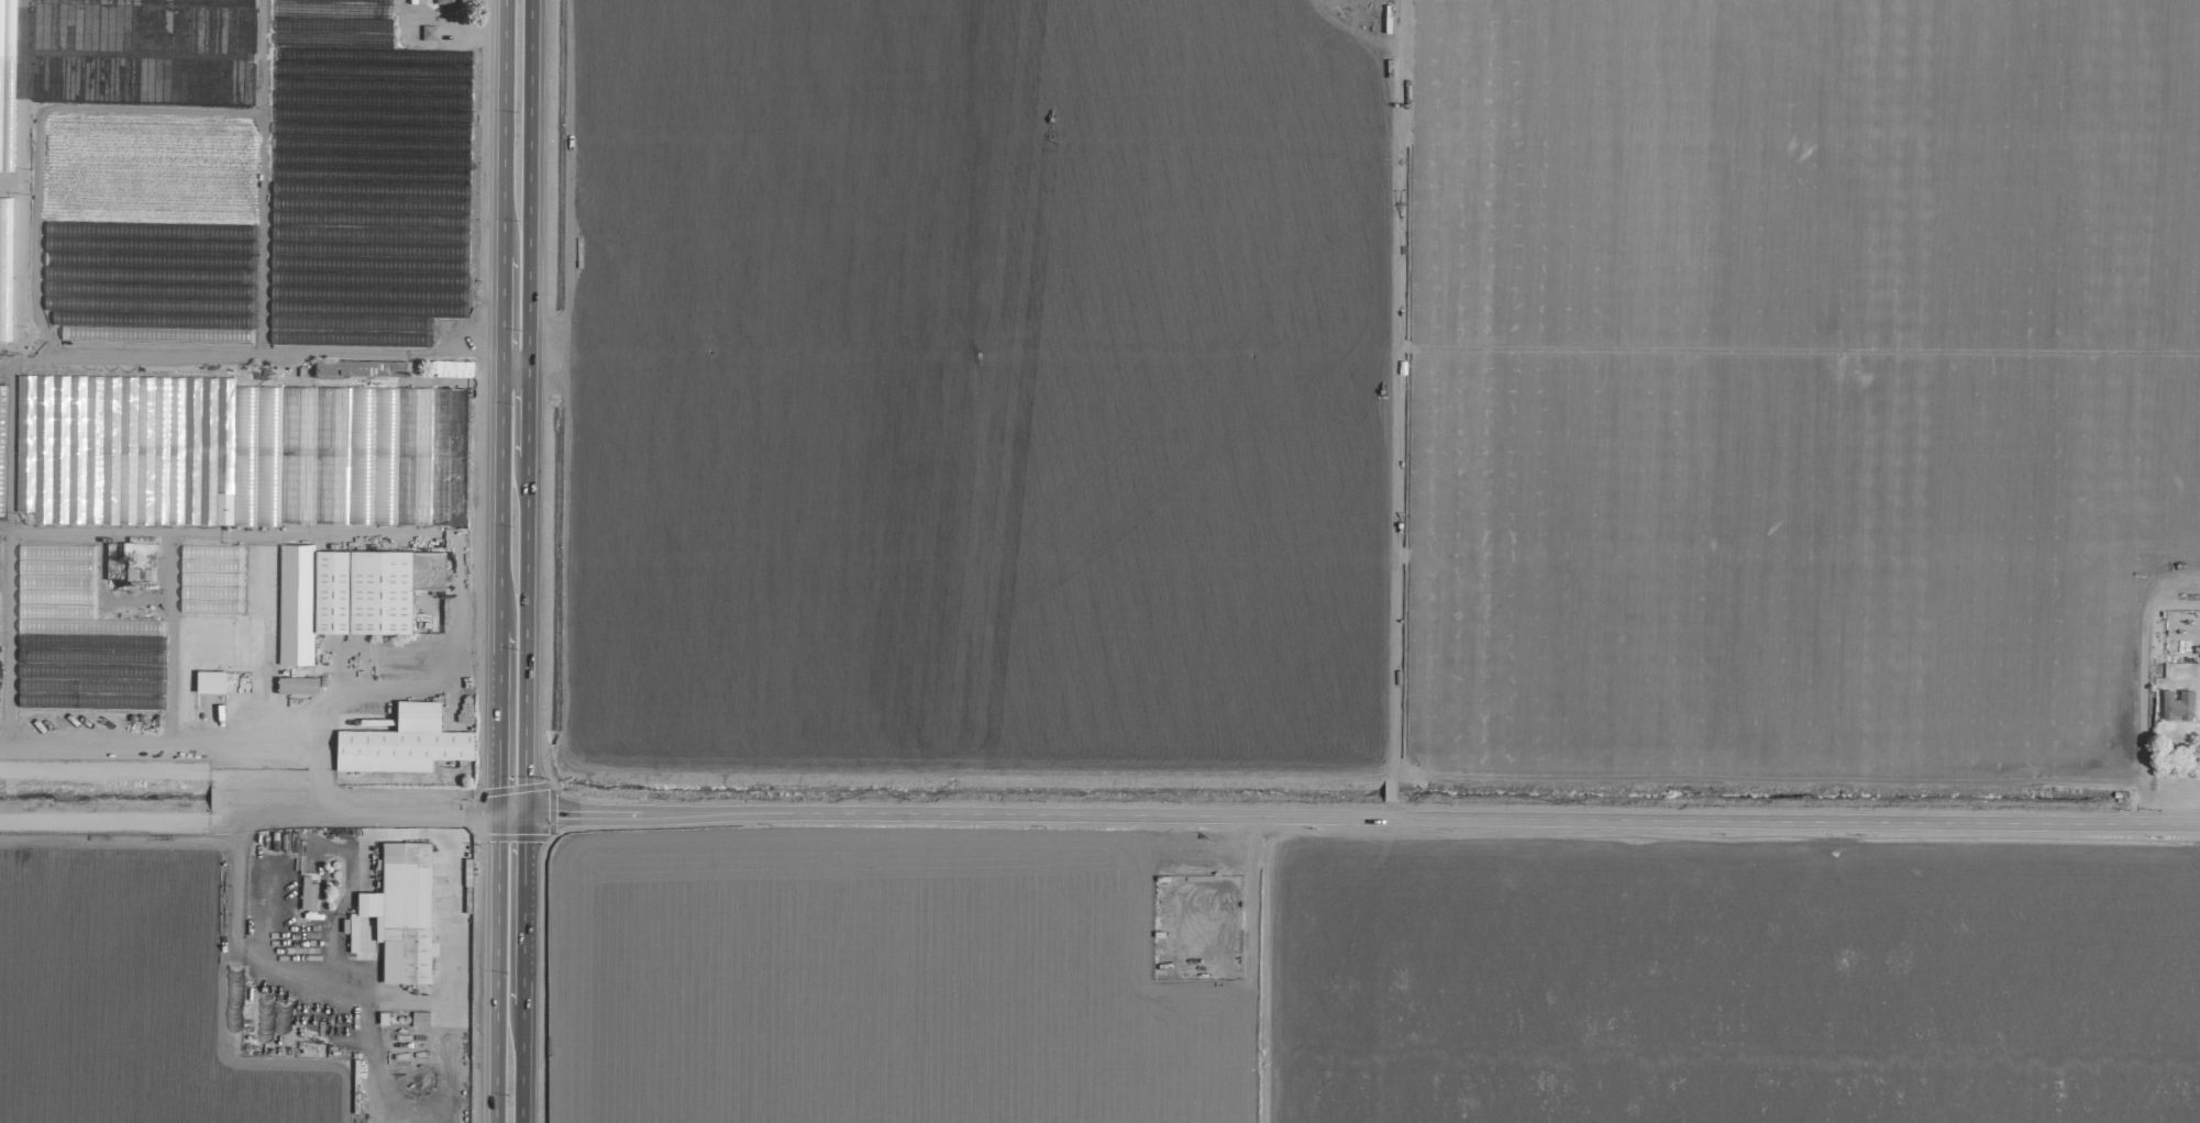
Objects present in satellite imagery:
building: (449, 5)
building: (5, 11)
building: (429, 34)
road: (30, 109)
road: (504, 129)
road: (22, 275)
road: (501, 312)
road: (515, 367)
building: (362, 369)
building: (452, 369)
building: (378, 449)
road: (499, 499)
building: (124, 557)
road: (526, 561)
crop: (1099, 561)
building: (228, 580)
building: (347, 594)
building: (210, 682)
building: (297, 686)
building: (2177, 705)
road: (330, 710)
road: (497, 722)
building: (403, 743)
road: (161, 775)
road: (1348, 818)
building: (308, 894)
building: (403, 913)
road: (255, 954)
road: (496, 968)
road: (484, 1011)
building: (420, 1020)

